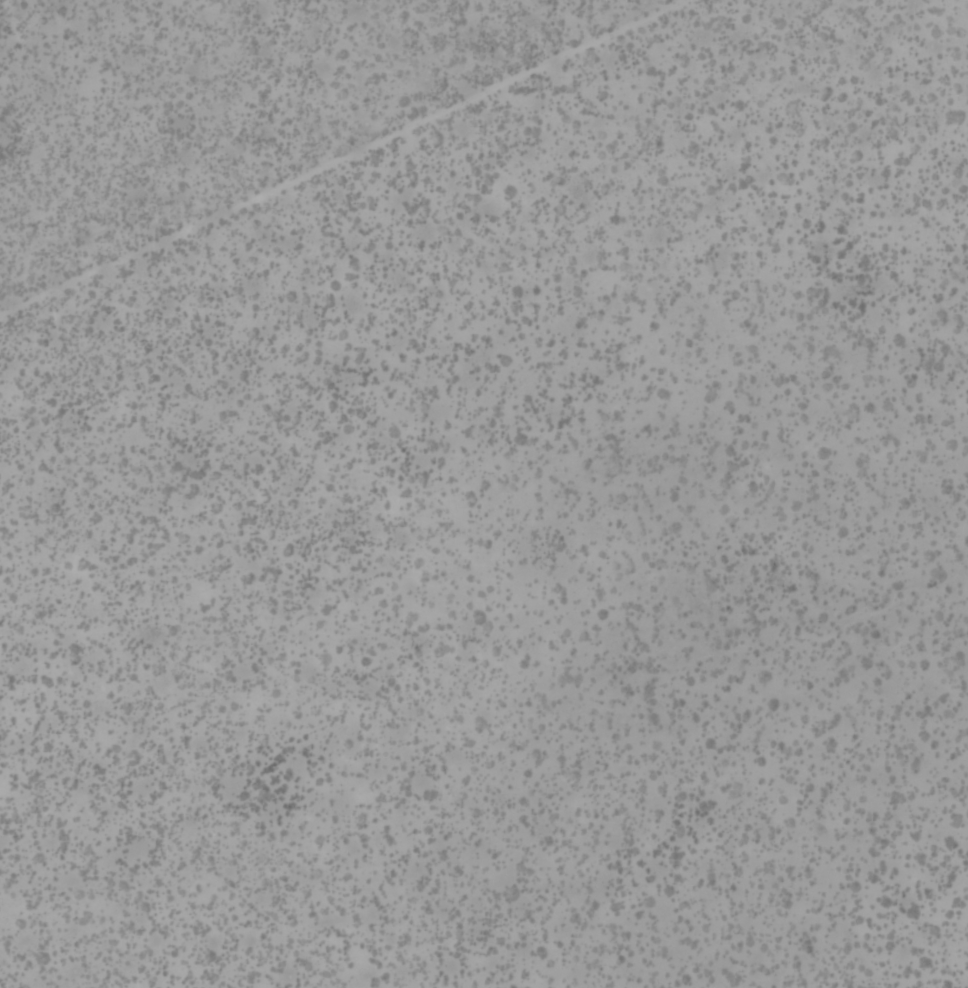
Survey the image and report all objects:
road: (335, 155)

